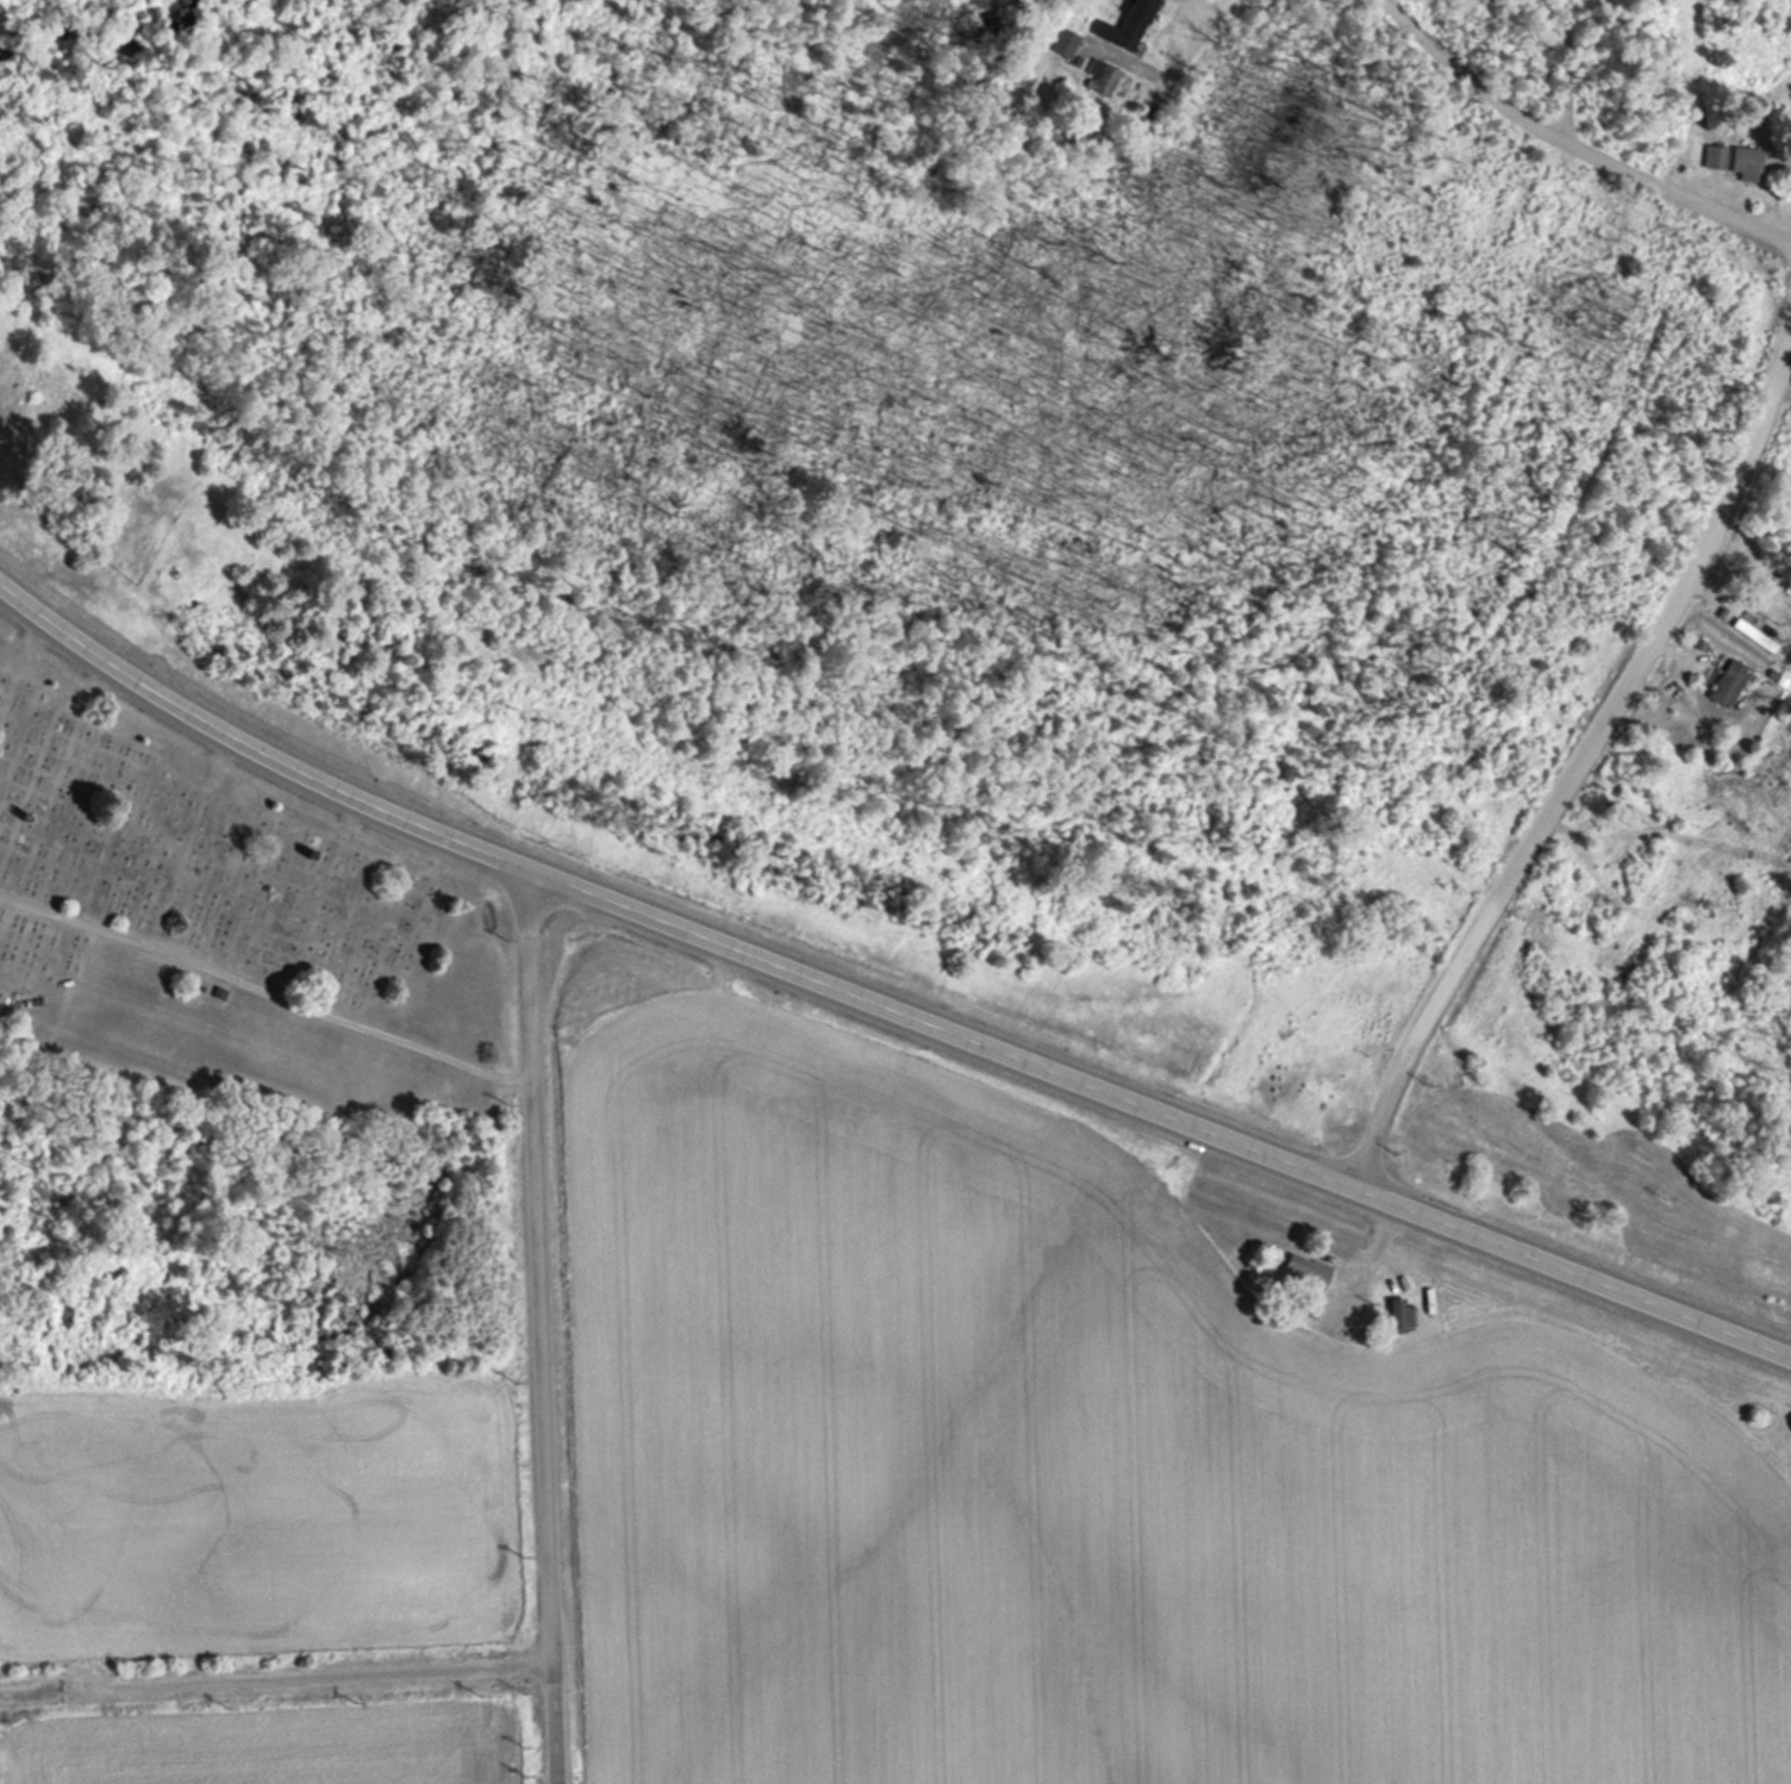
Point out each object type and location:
building: (1128, 25)
river: (105, 36)
building: (1067, 44)
road: (1568, 74)
road: (1167, 77)
building: (1106, 80)
road: (1572, 148)
building: (1717, 158)
building: (1748, 164)
building: (1754, 634)
building: (1731, 684)
road: (1579, 750)
park: (229, 927)
road: (266, 987)
road: (878, 1002)
building: (1306, 1273)
road: (539, 1324)
crop: (258, 1518)
road: (275, 1674)

